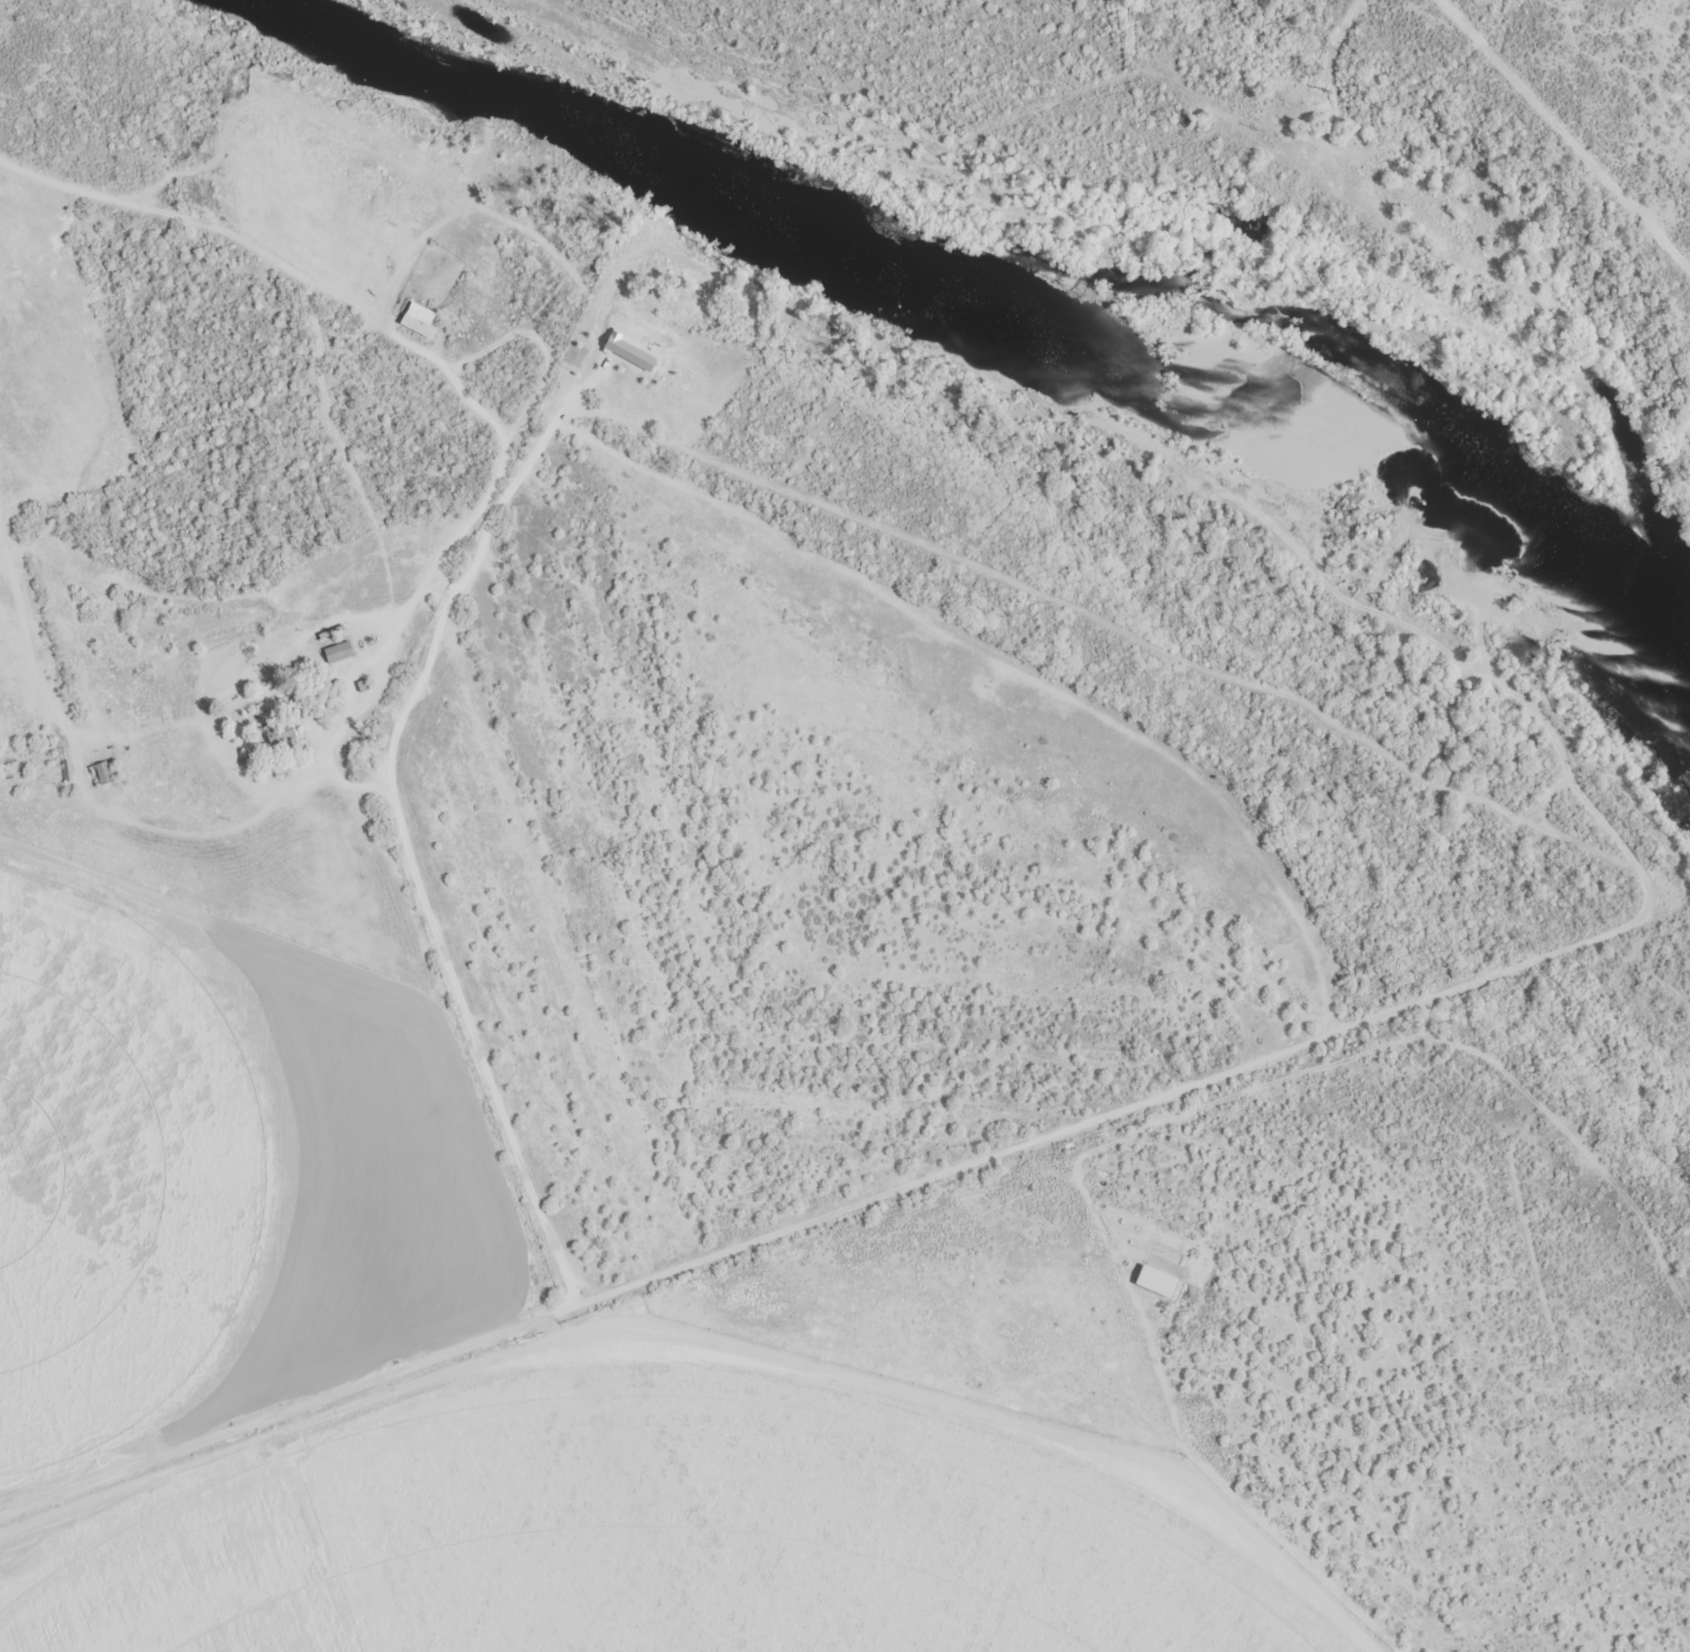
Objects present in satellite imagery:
river: (1044, 270)
building: (414, 320)
building: (334, 652)

